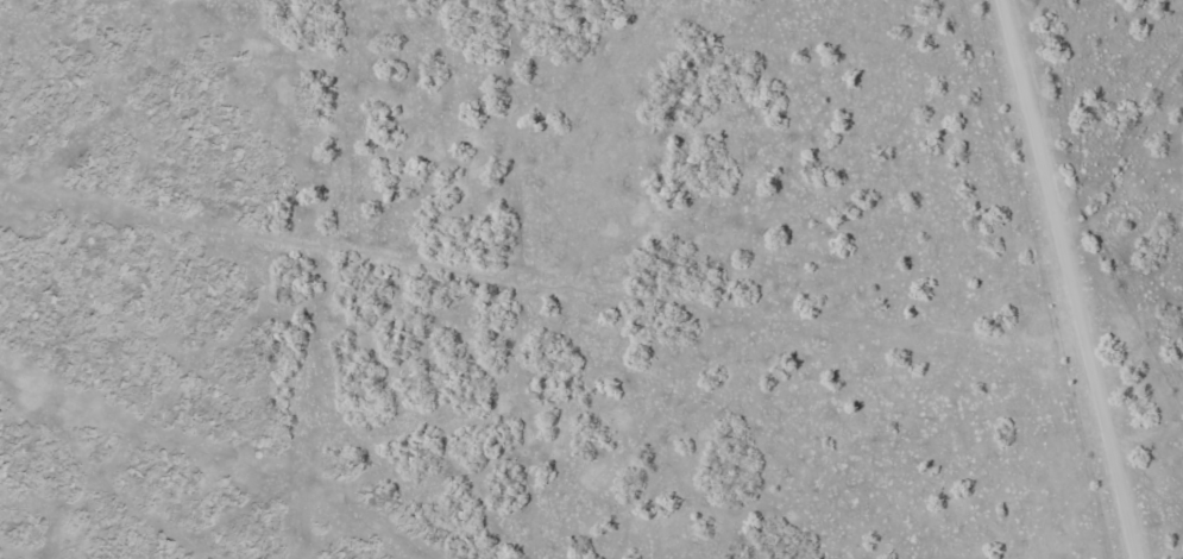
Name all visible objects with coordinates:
road: (1070, 278)

